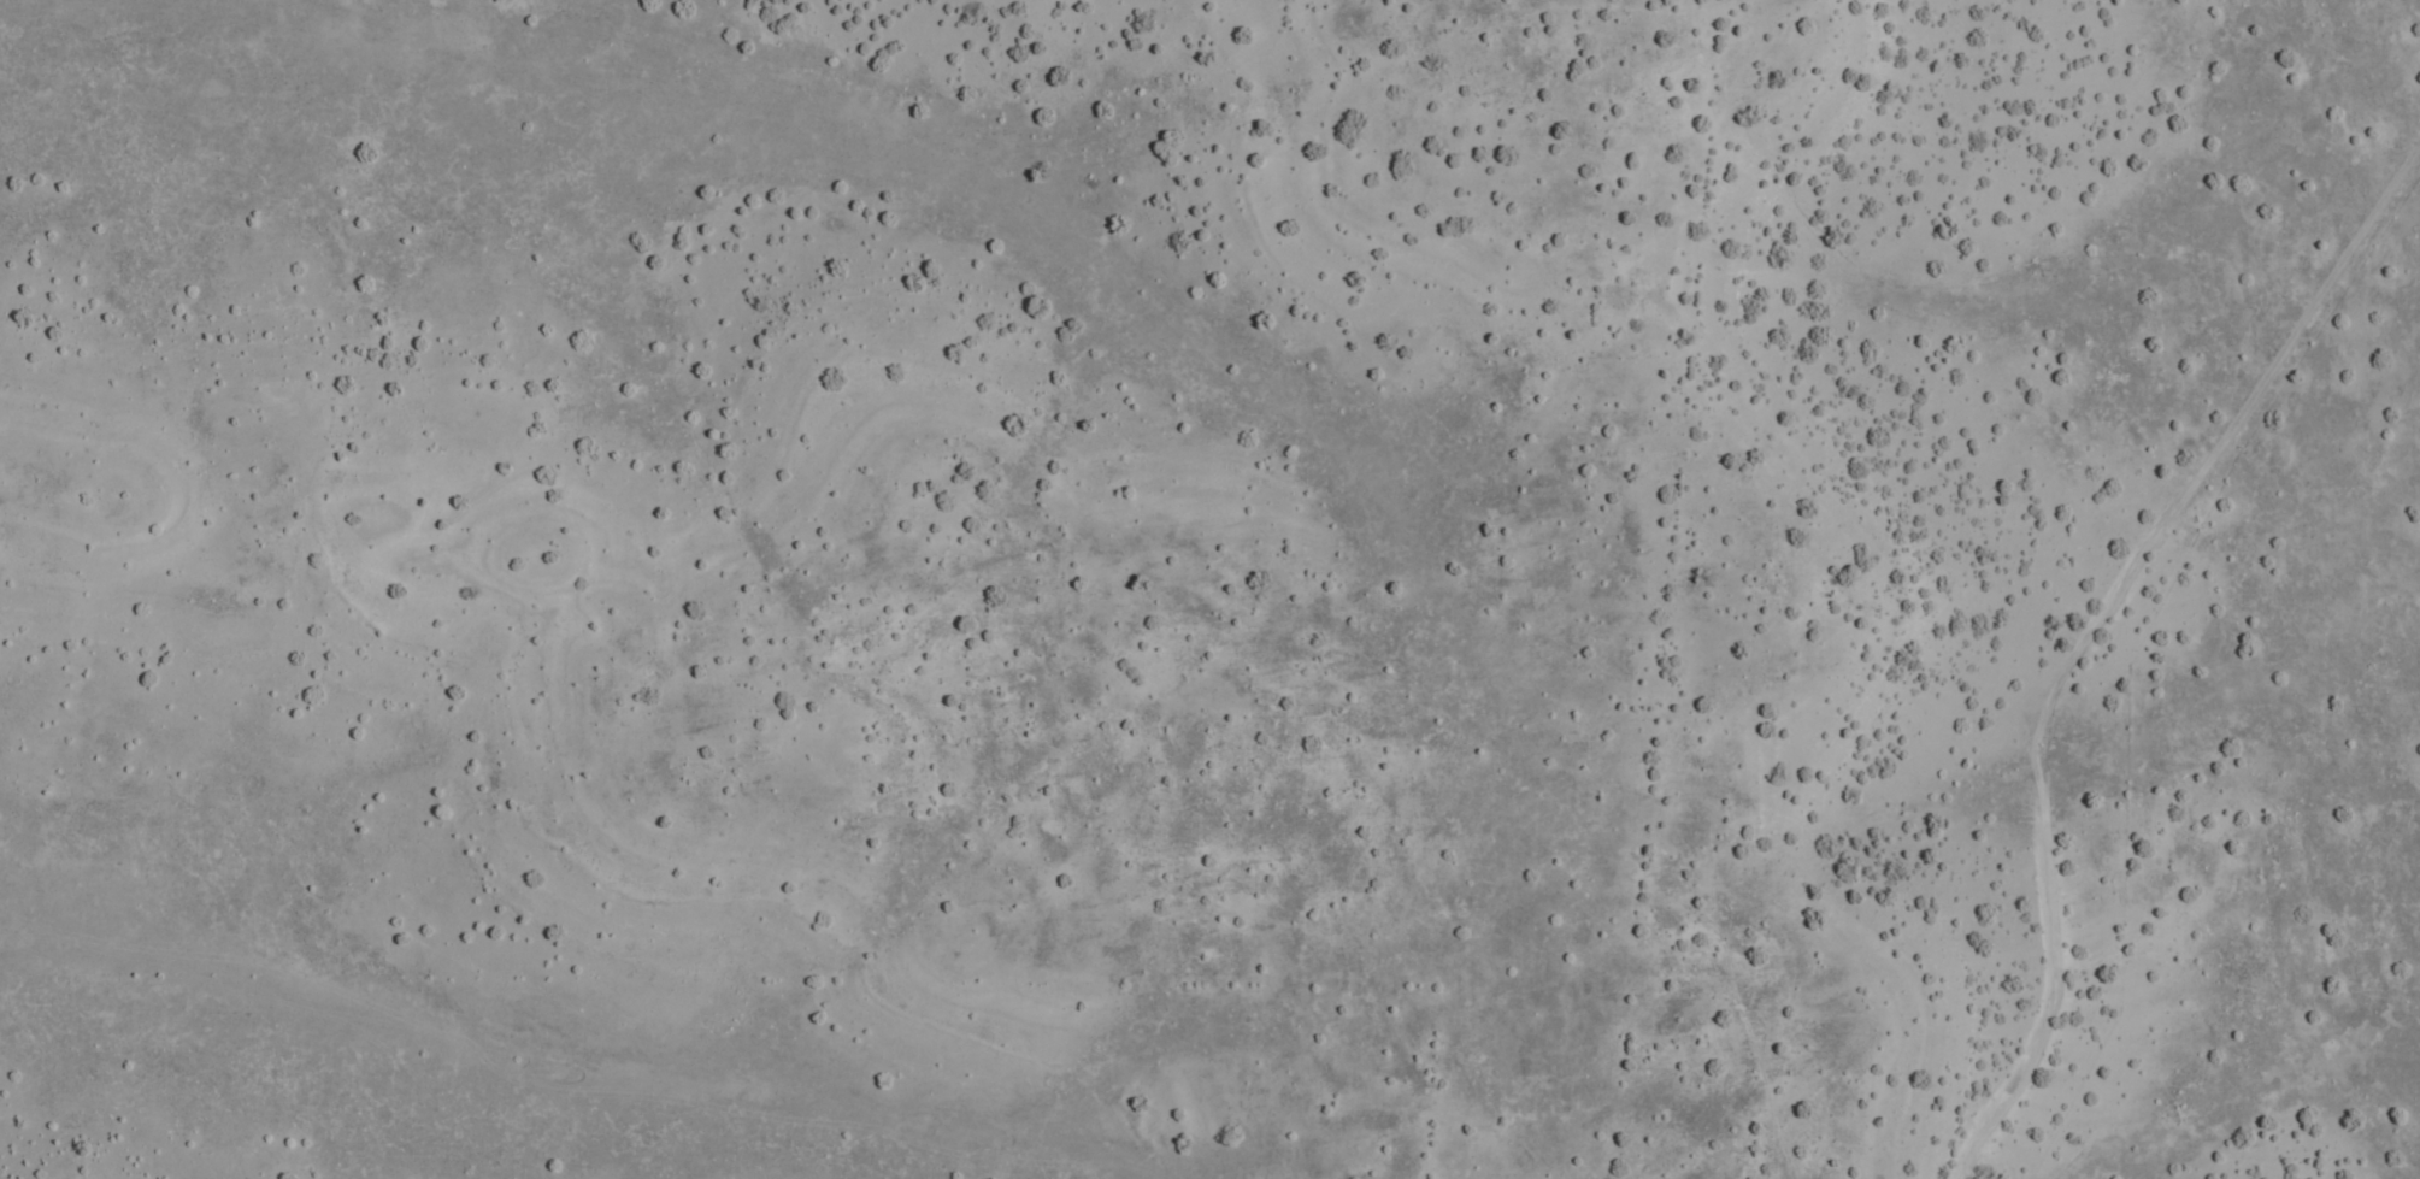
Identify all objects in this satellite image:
road: (2402, 39)

